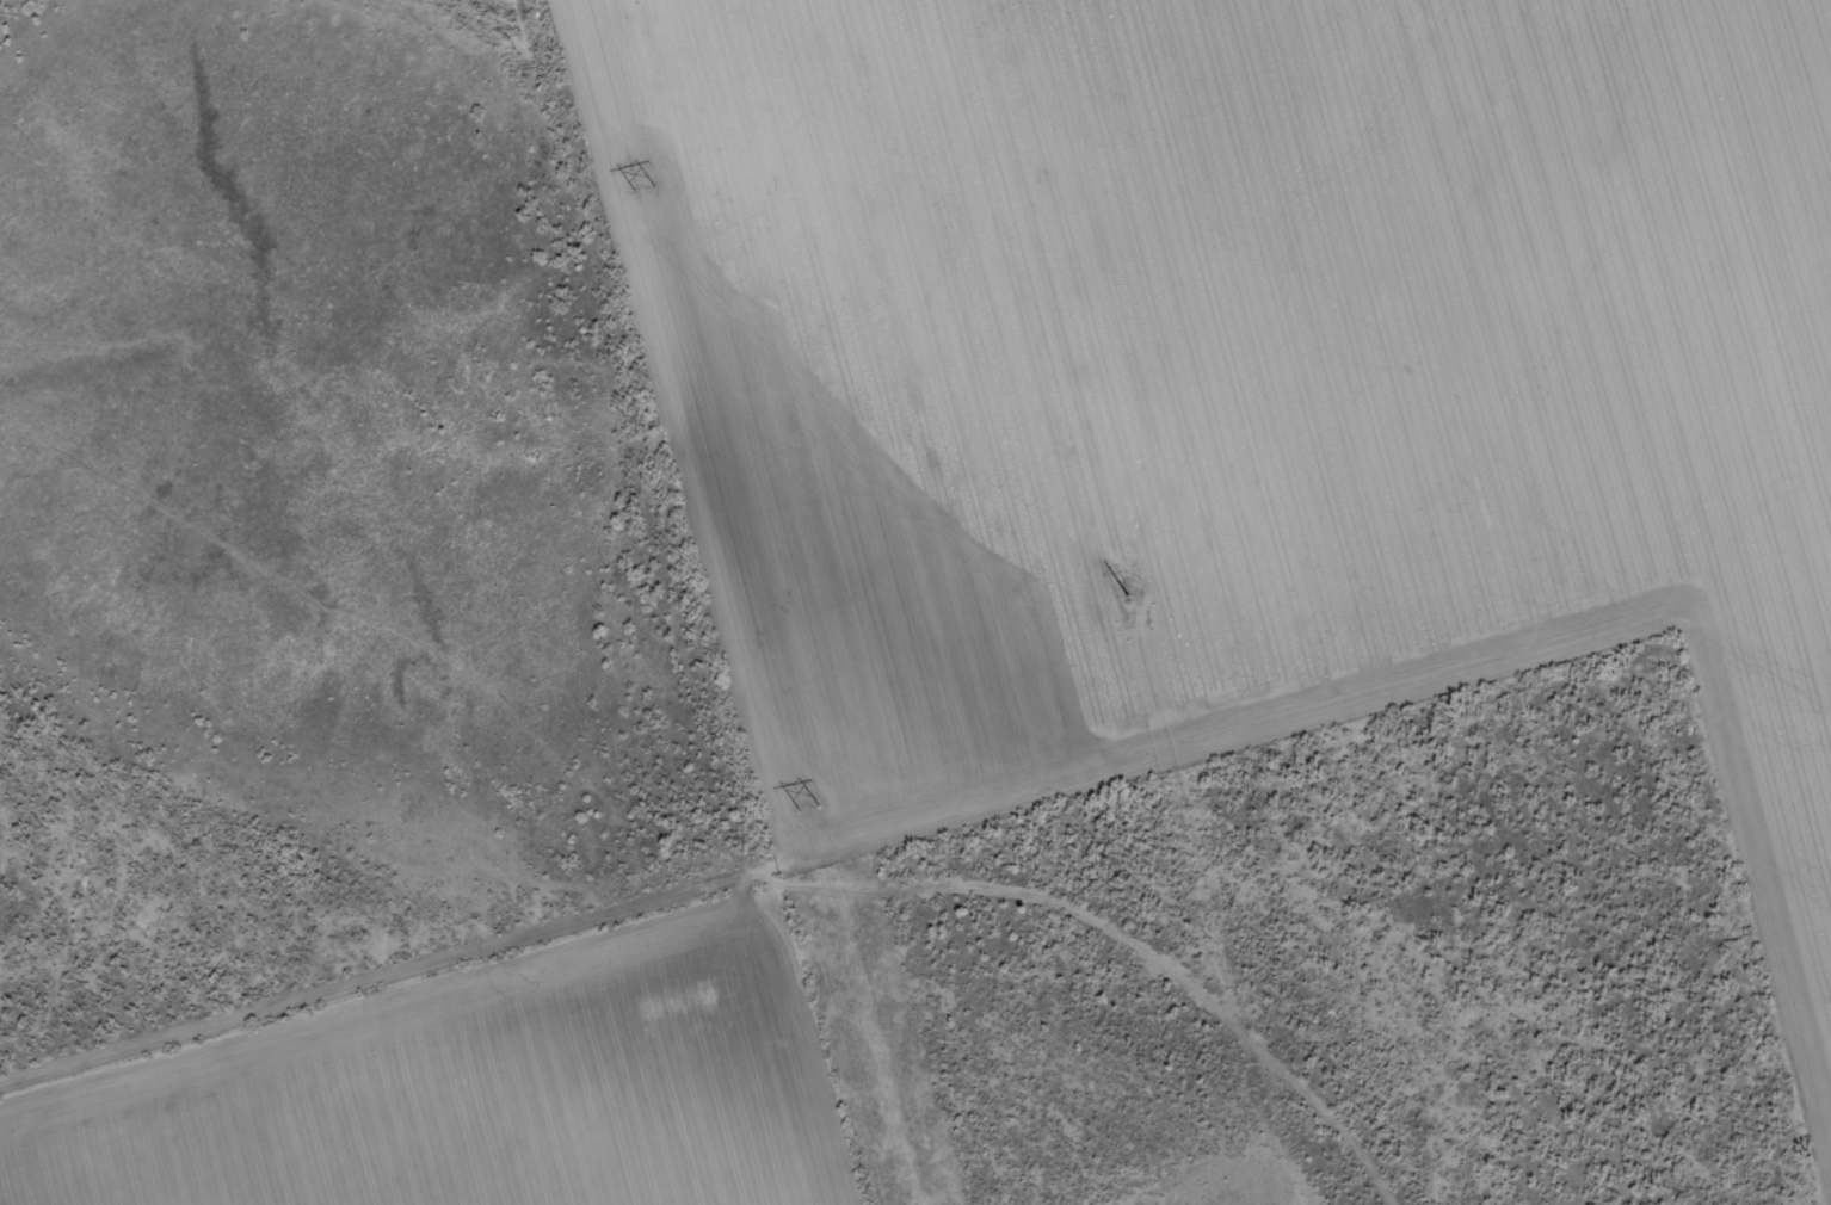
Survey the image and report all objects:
power tower: (649, 189)
power tower: (1128, 594)
power tower: (815, 805)

